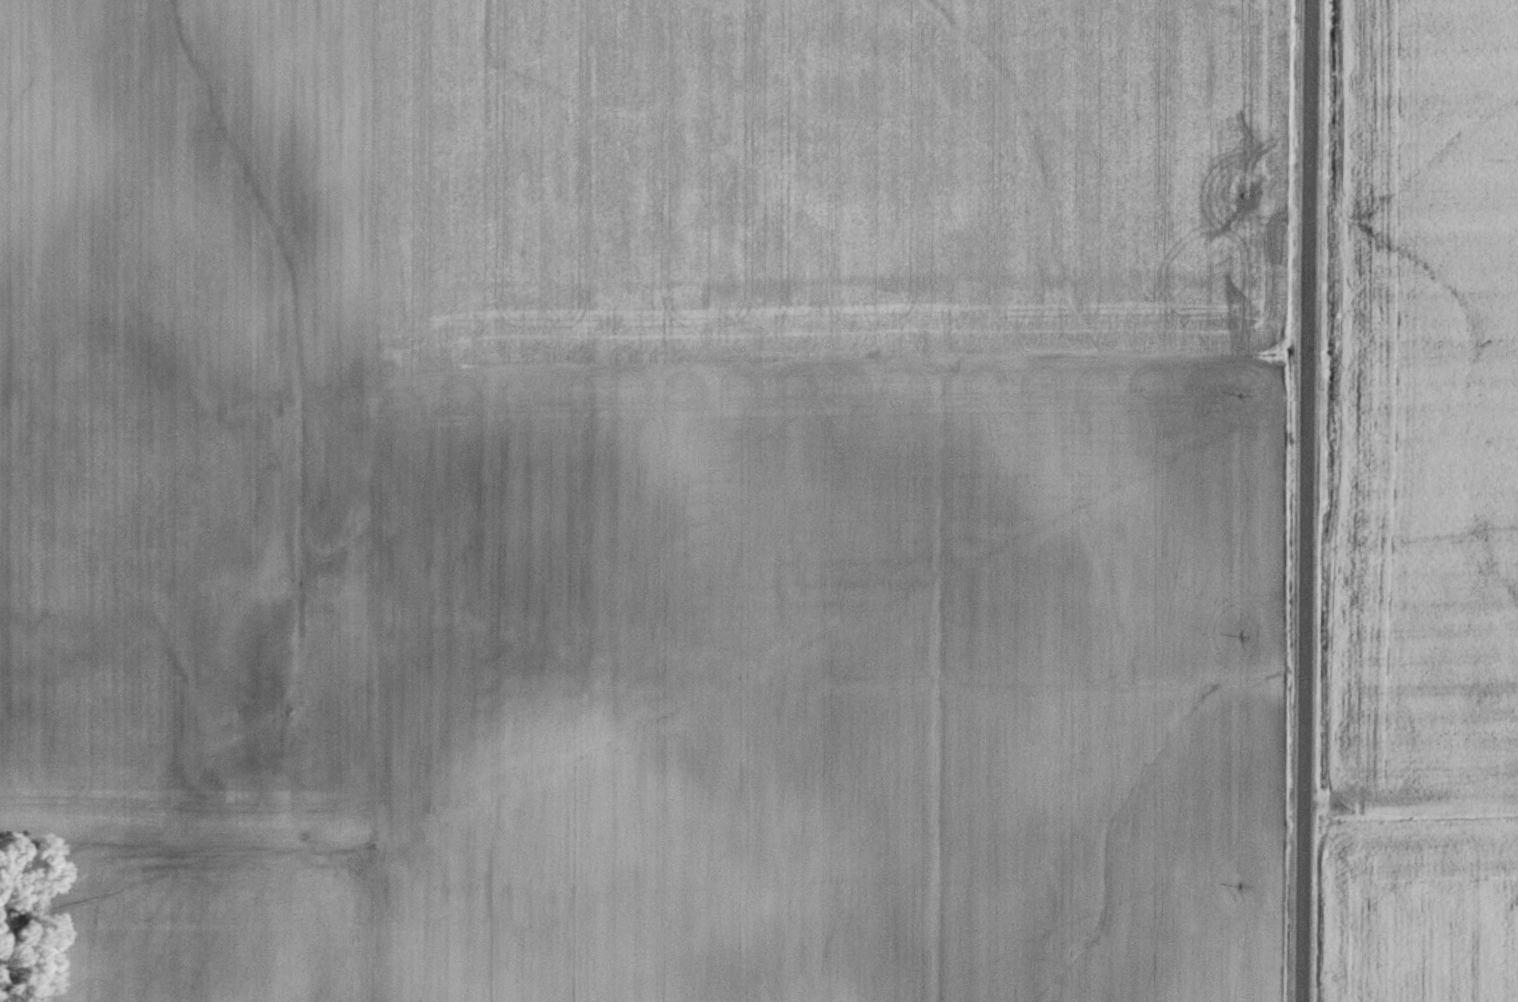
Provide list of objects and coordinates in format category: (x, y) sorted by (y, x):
road: (1307, 501)

